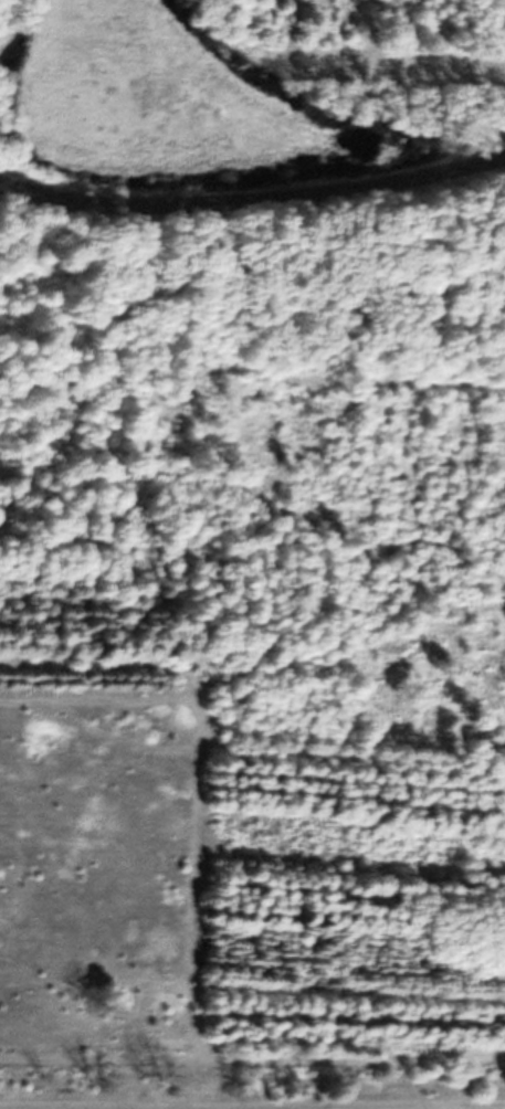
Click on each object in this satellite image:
road: (250, 214)

